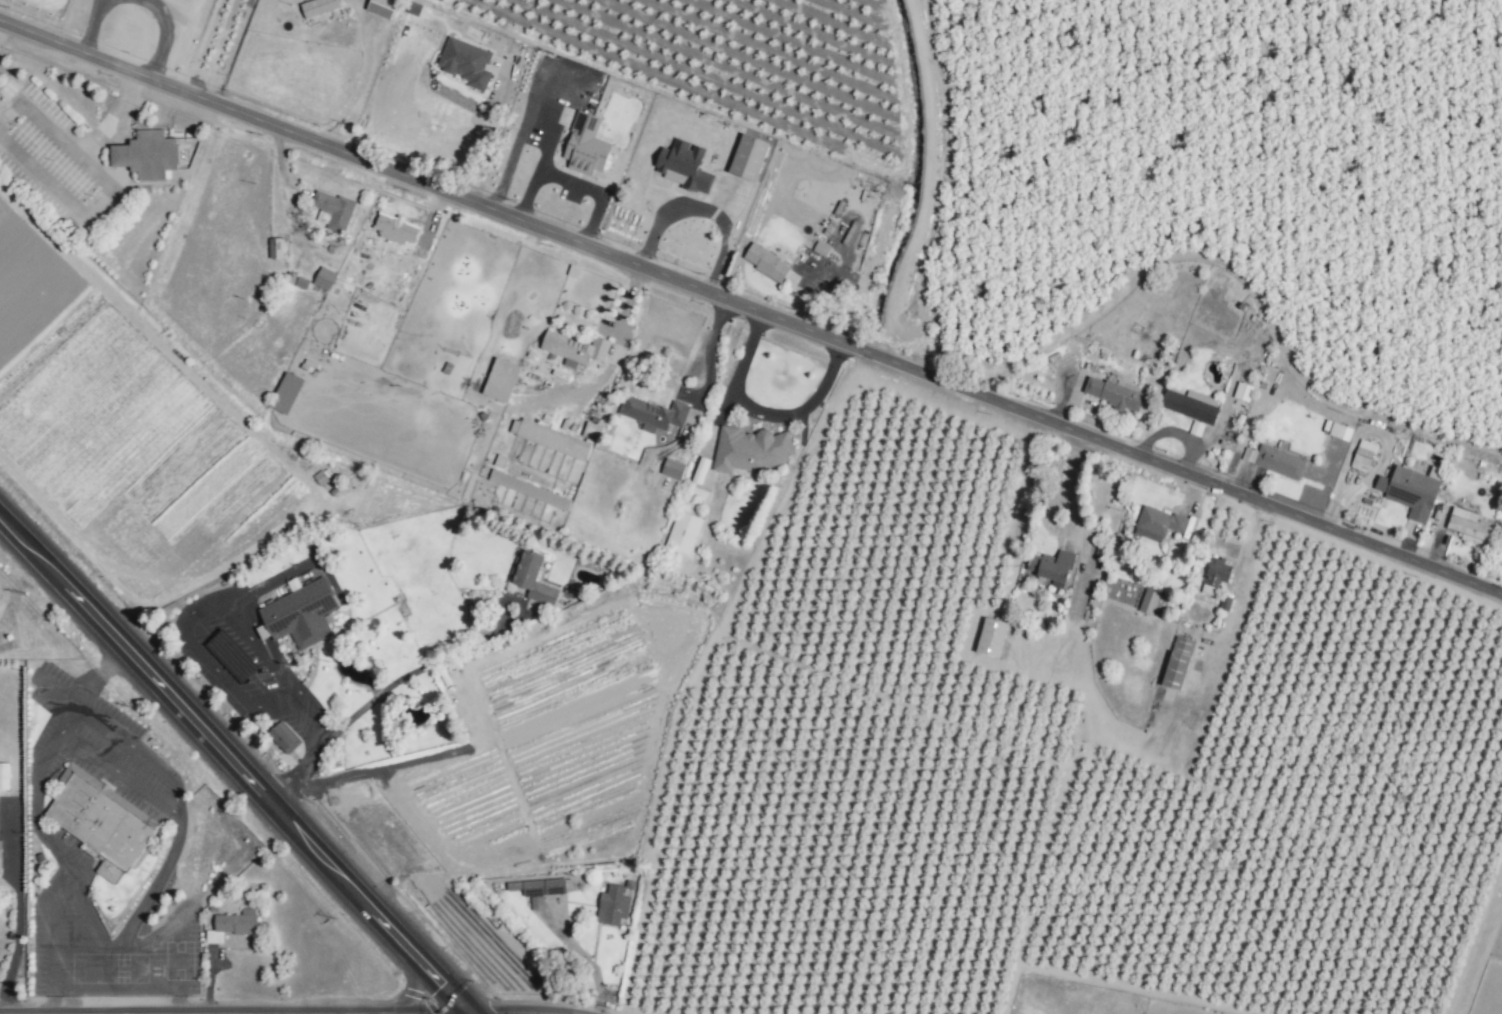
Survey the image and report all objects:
building: (318, 7)
building: (382, 7)
road: (218, 46)
building: (466, 62)
road: (365, 75)
road: (492, 133)
road: (518, 143)
building: (586, 145)
building: (147, 155)
building: (748, 157)
building: (682, 166)
road: (572, 181)
building: (333, 210)
building: (395, 229)
building: (275, 248)
building: (820, 249)
building: (766, 263)
building: (324, 279)
building: (301, 283)
road: (751, 304)
road: (628, 311)
building: (574, 349)
road: (709, 354)
building: (501, 380)
building: (1242, 392)
building: (286, 393)
building: (1113, 394)
building: (1190, 405)
road: (761, 413)
building: (654, 414)
building: (1195, 428)
building: (1339, 432)
building: (553, 438)
building: (750, 450)
building: (1249, 455)
building: (1363, 456)
building: (1279, 462)
building: (672, 469)
building: (700, 470)
crop: (109, 474)
building: (507, 481)
building: (1381, 483)
building: (553, 499)
crop: (896, 499)
building: (1157, 523)
building: (1468, 526)
building: (683, 533)
building: (1052, 567)
building: (1215, 576)
building: (531, 578)
building: (1148, 602)
building: (302, 615)
building: (991, 637)
parking lot: (245, 661)
building: (1177, 663)
road: (407, 675)
road: (96, 679)
road: (298, 710)
railway: (275, 723)
road: (1108, 734)
building: (284, 737)
road: (233, 772)
building: (3, 776)
road: (33, 799)
road: (177, 808)
building: (101, 822)
building: (0, 849)
building: (540, 890)
building: (613, 906)
road: (18, 909)
road: (86, 917)
building: (232, 925)
road: (50, 937)
road: (137, 967)
road: (176, 984)
road: (412, 985)
traffic signals: (442, 987)
road: (50, 1002)
road: (176, 1002)
road: (457, 1013)
road: (485, 1013)
traffic signals: (504, 1013)

